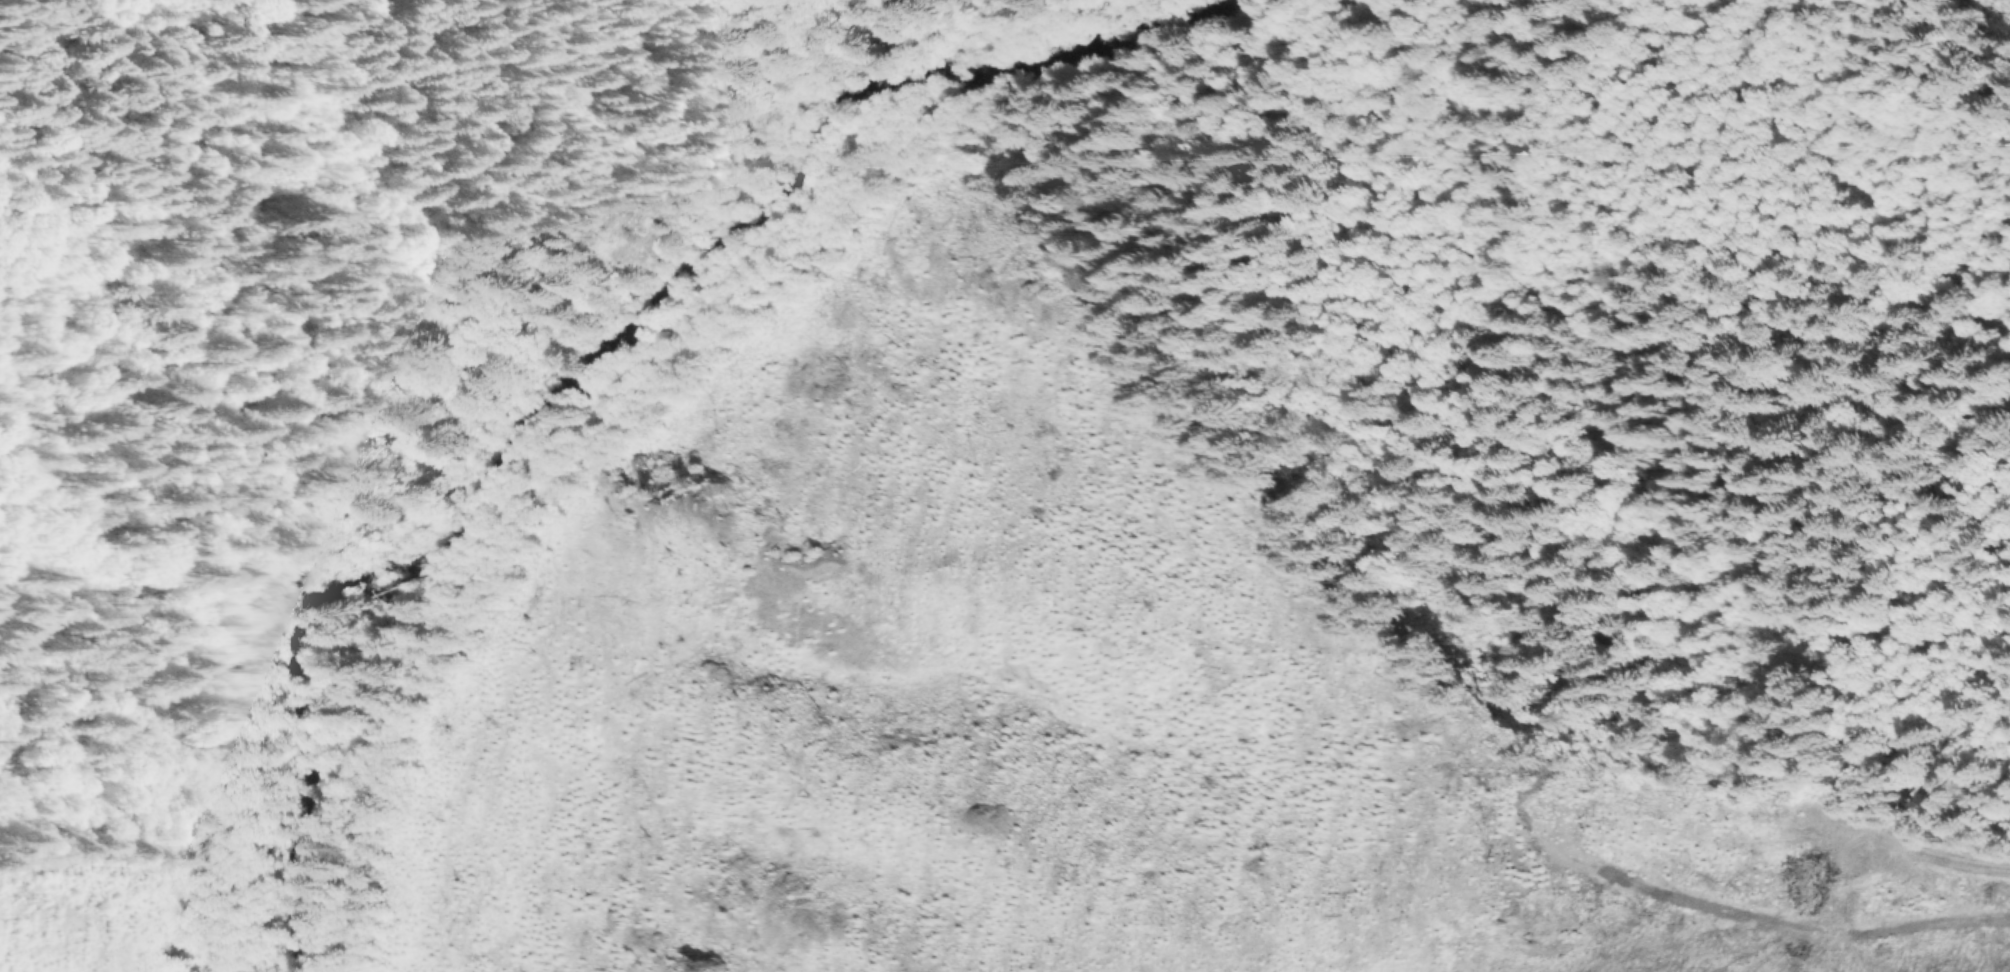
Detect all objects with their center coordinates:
road: (1923, 847)

